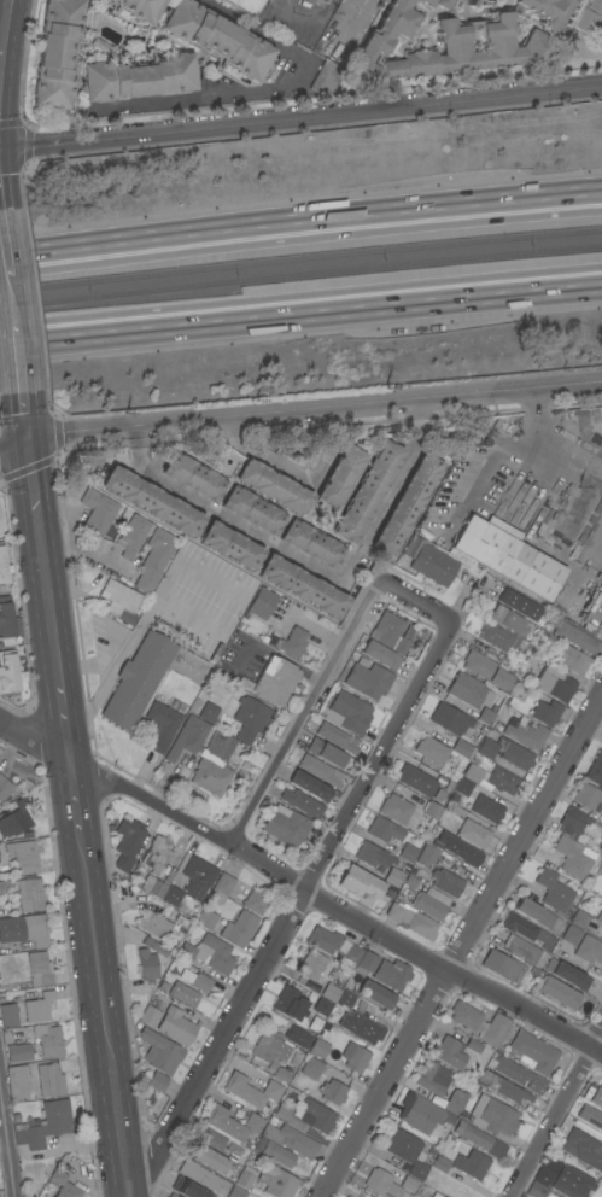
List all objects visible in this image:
building: (323, 1)
building: (245, 6)
building: (140, 8)
road: (323, 16)
building: (589, 16)
road: (5, 23)
building: (461, 36)
building: (216, 39)
building: (100, 46)
road: (0, 53)
building: (55, 54)
building: (136, 77)
building: (326, 78)
road: (271, 90)
road: (300, 117)
road: (11, 121)
road: (300, 230)
railway: (300, 259)
road: (6, 267)
railway: (300, 275)
road: (300, 305)
road: (16, 354)
road: (367, 405)
road: (23, 419)
road: (80, 439)
road: (550, 443)
traffic signals: (27, 446)
road: (13, 448)
building: (193, 477)
building: (340, 477)
building: (273, 486)
building: (367, 491)
building: (152, 501)
building: (407, 504)
building: (252, 510)
road: (70, 512)
building: (97, 513)
building: (0, 532)
building: (133, 536)
building: (311, 543)
building: (230, 545)
road: (83, 551)
building: (508, 555)
road: (590, 555)
building: (154, 559)
building: (429, 562)
road: (314, 564)
road: (42, 566)
building: (2, 567)
building: (302, 585)
road: (416, 598)
building: (119, 601)
building: (261, 603)
building: (519, 605)
building: (5, 618)
road: (357, 619)
building: (513, 623)
road: (311, 627)
building: (388, 633)
building: (574, 637)
building: (501, 640)
building: (293, 643)
road: (125, 647)
building: (380, 655)
building: (573, 660)
building: (485, 670)
building: (7, 675)
building: (147, 677)
building: (368, 679)
building: (271, 682)
building: (555, 684)
building: (466, 689)
building: (209, 713)
building: (347, 713)
building: (547, 713)
building: (486, 716)
building: (250, 719)
building: (450, 719)
road: (64, 724)
building: (160, 725)
building: (525, 734)
building: (335, 737)
road: (285, 748)
building: (462, 748)
building: (487, 748)
building: (432, 751)
building: (204, 754)
building: (328, 754)
building: (514, 754)
building: (595, 770)
building: (320, 771)
building: (416, 781)
building: (468, 781)
building: (503, 781)
building: (309, 786)
building: (4, 788)
building: (601, 788)
road: (74, 795)
building: (588, 796)
building: (302, 804)
building: (396, 808)
building: (487, 810)
building: (433, 811)
building: (457, 812)
building: (17, 818)
building: (572, 823)
building: (596, 824)
building: (286, 825)
building: (384, 830)
building: (473, 834)
building: (601, 836)
building: (128, 843)
building: (457, 849)
building: (600, 849)
building: (407, 853)
building: (154, 854)
building: (23, 857)
building: (374, 857)
building: (572, 858)
building: (443, 870)
building: (598, 870)
building: (198, 877)
building: (393, 877)
building: (360, 883)
building: (410, 883)
building: (152, 886)
building: (221, 888)
road: (302, 888)
building: (0, 891)
building: (553, 891)
building: (29, 894)
building: (171, 895)
building: (255, 903)
building: (431, 904)
road: (291, 911)
building: (538, 915)
building: (598, 917)
building: (579, 918)
building: (206, 919)
building: (411, 921)
building: (159, 924)
building: (239, 929)
building: (25, 930)
building: (527, 930)
building: (571, 935)
building: (323, 940)
building: (154, 947)
road: (94, 948)
road: (461, 948)
building: (589, 950)
building: (525, 951)
building: (187, 952)
building: (352, 953)
building: (217, 954)
building: (367, 963)
building: (146, 965)
building: (311, 965)
building: (503, 967)
building: (39, 969)
building: (391, 974)
building: (567, 974)
building: (200, 983)
building: (557, 992)
building: (183, 994)
building: (375, 994)
building: (328, 995)
building: (345, 999)
building: (290, 1004)
building: (37, 1008)
building: (8, 1015)
building: (150, 1016)
building: (464, 1016)
building: (176, 1027)
building: (361, 1027)
building: (493, 1032)
building: (298, 1037)
building: (48, 1041)
building: (473, 1046)
building: (269, 1049)
building: (318, 1049)
building: (19, 1052)
building: (449, 1052)
building: (533, 1053)
building: (159, 1058)
building: (355, 1058)
building: (311, 1068)
building: (282, 1074)
building: (516, 1075)
building: (49, 1080)
building: (431, 1080)
building: (17, 1082)
building: (503, 1087)
building: (251, 1091)
building: (332, 1092)
building: (596, 1097)
building: (456, 1103)
building: (422, 1114)
road: (555, 1114)
building: (287, 1116)
building: (316, 1116)
building: (590, 1116)
building: (493, 1117)
building: (233, 1123)
building: (43, 1125)
road: (117, 1132)
building: (478, 1139)
building: (212, 1140)
building: (291, 1140)
building: (249, 1146)
building: (580, 1148)
road: (6, 1150)
building: (234, 1150)
building: (408, 1152)
building: (279, 1155)
building: (209, 1160)
building: (440, 1164)
building: (471, 1164)
building: (203, 1176)
building: (544, 1176)
building: (244, 1180)
building: (572, 1181)
building: (277, 1183)
building: (381, 1184)
building: (408, 1184)
building: (63, 1185)
building: (187, 1189)
building: (536, 1190)
building: (236, 1192)
building: (436, 1195)
building: (173, 1196)

